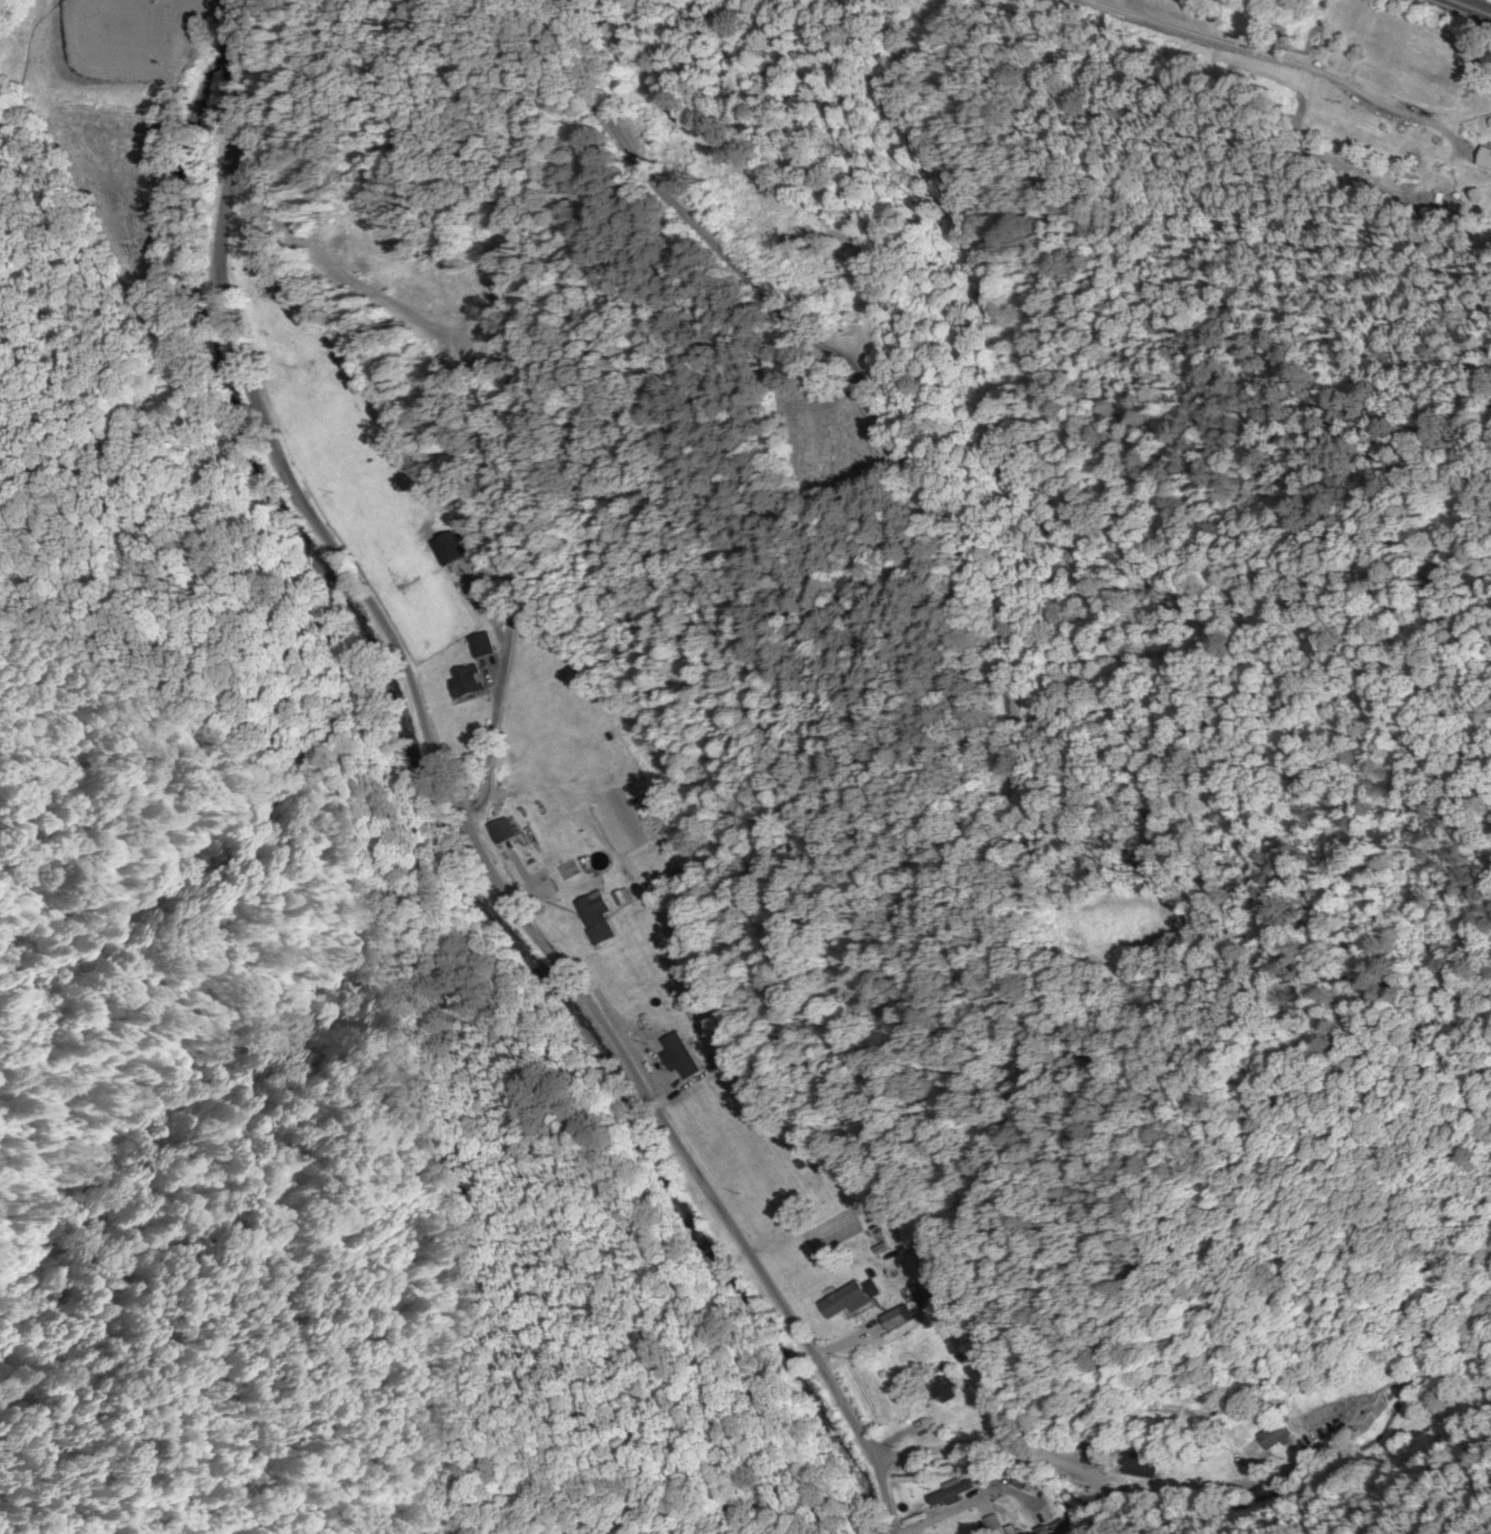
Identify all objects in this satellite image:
railway: (1471, 7)
building: (1406, 156)
building: (1483, 156)
road: (223, 395)
road: (807, 407)
building: (445, 545)
building: (479, 642)
building: (464, 679)
building: (498, 827)
building: (594, 915)
road: (620, 1132)
building: (847, 1295)
building: (891, 1317)
building: (944, 1382)
building: (1324, 1411)
building: (1275, 1432)
building: (1141, 1462)
building: (954, 1490)

